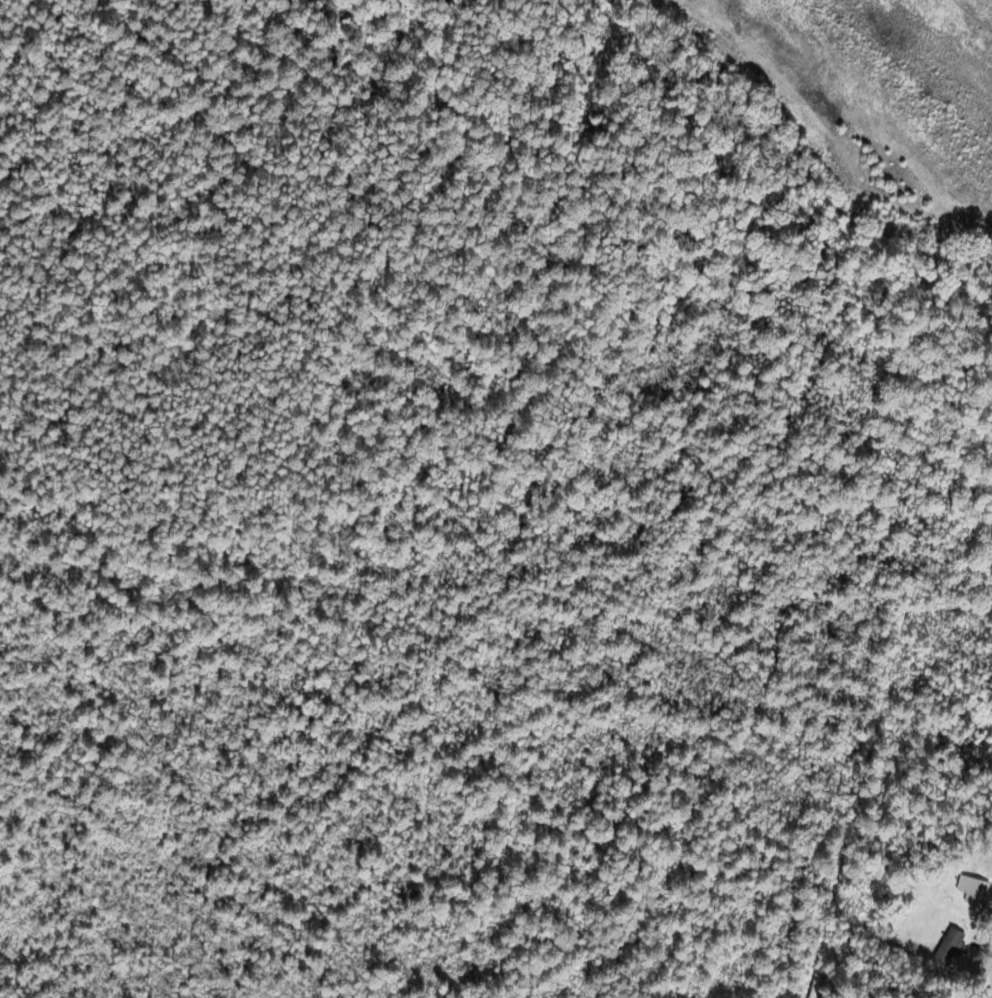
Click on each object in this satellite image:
building: (970, 891)
building: (941, 956)

